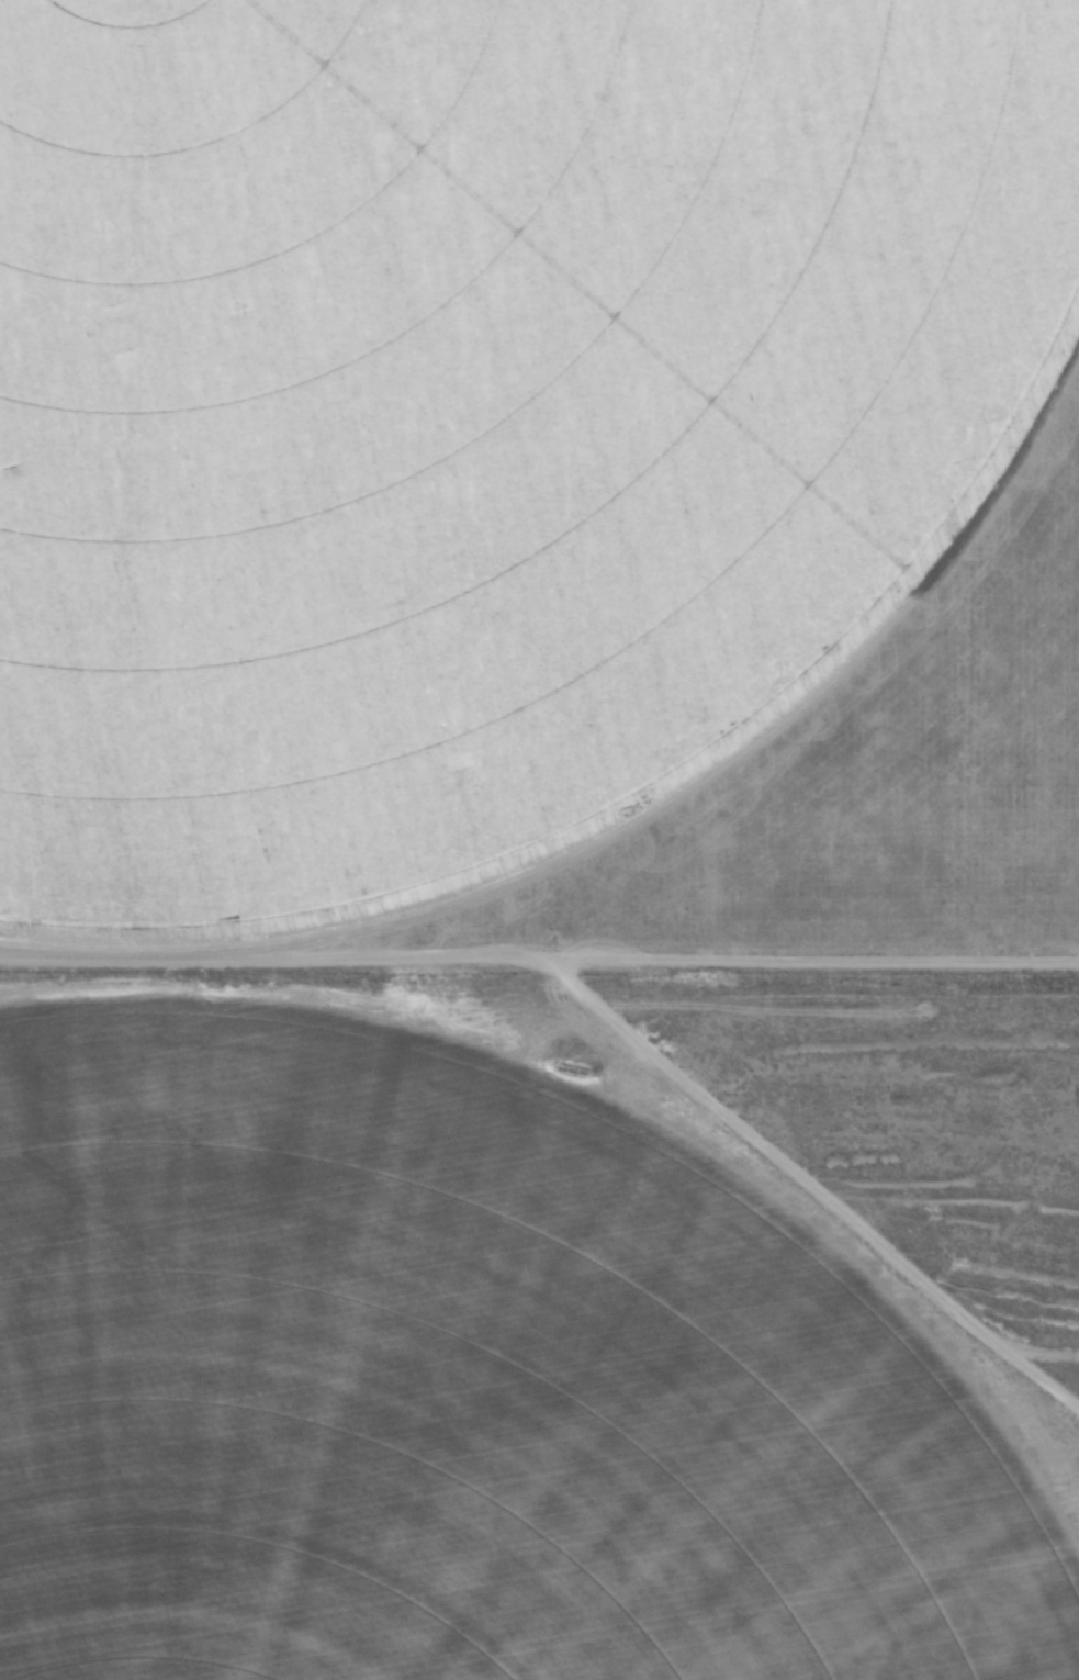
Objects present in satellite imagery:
crop: (476, 401)
crop: (443, 1408)

